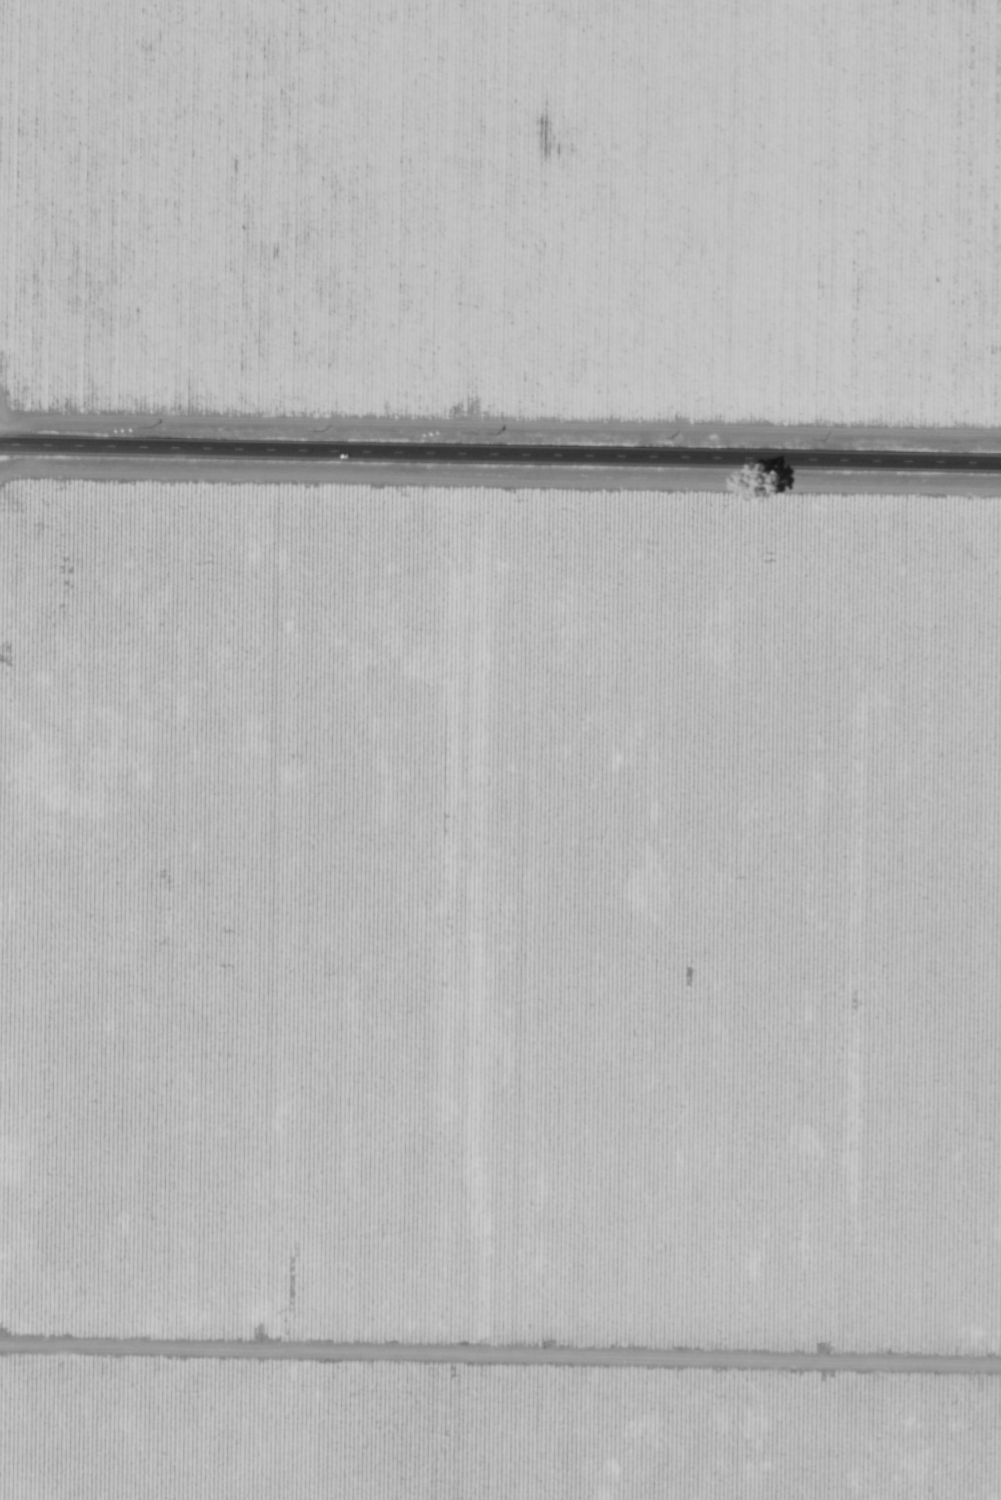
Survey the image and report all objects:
road: (500, 454)

